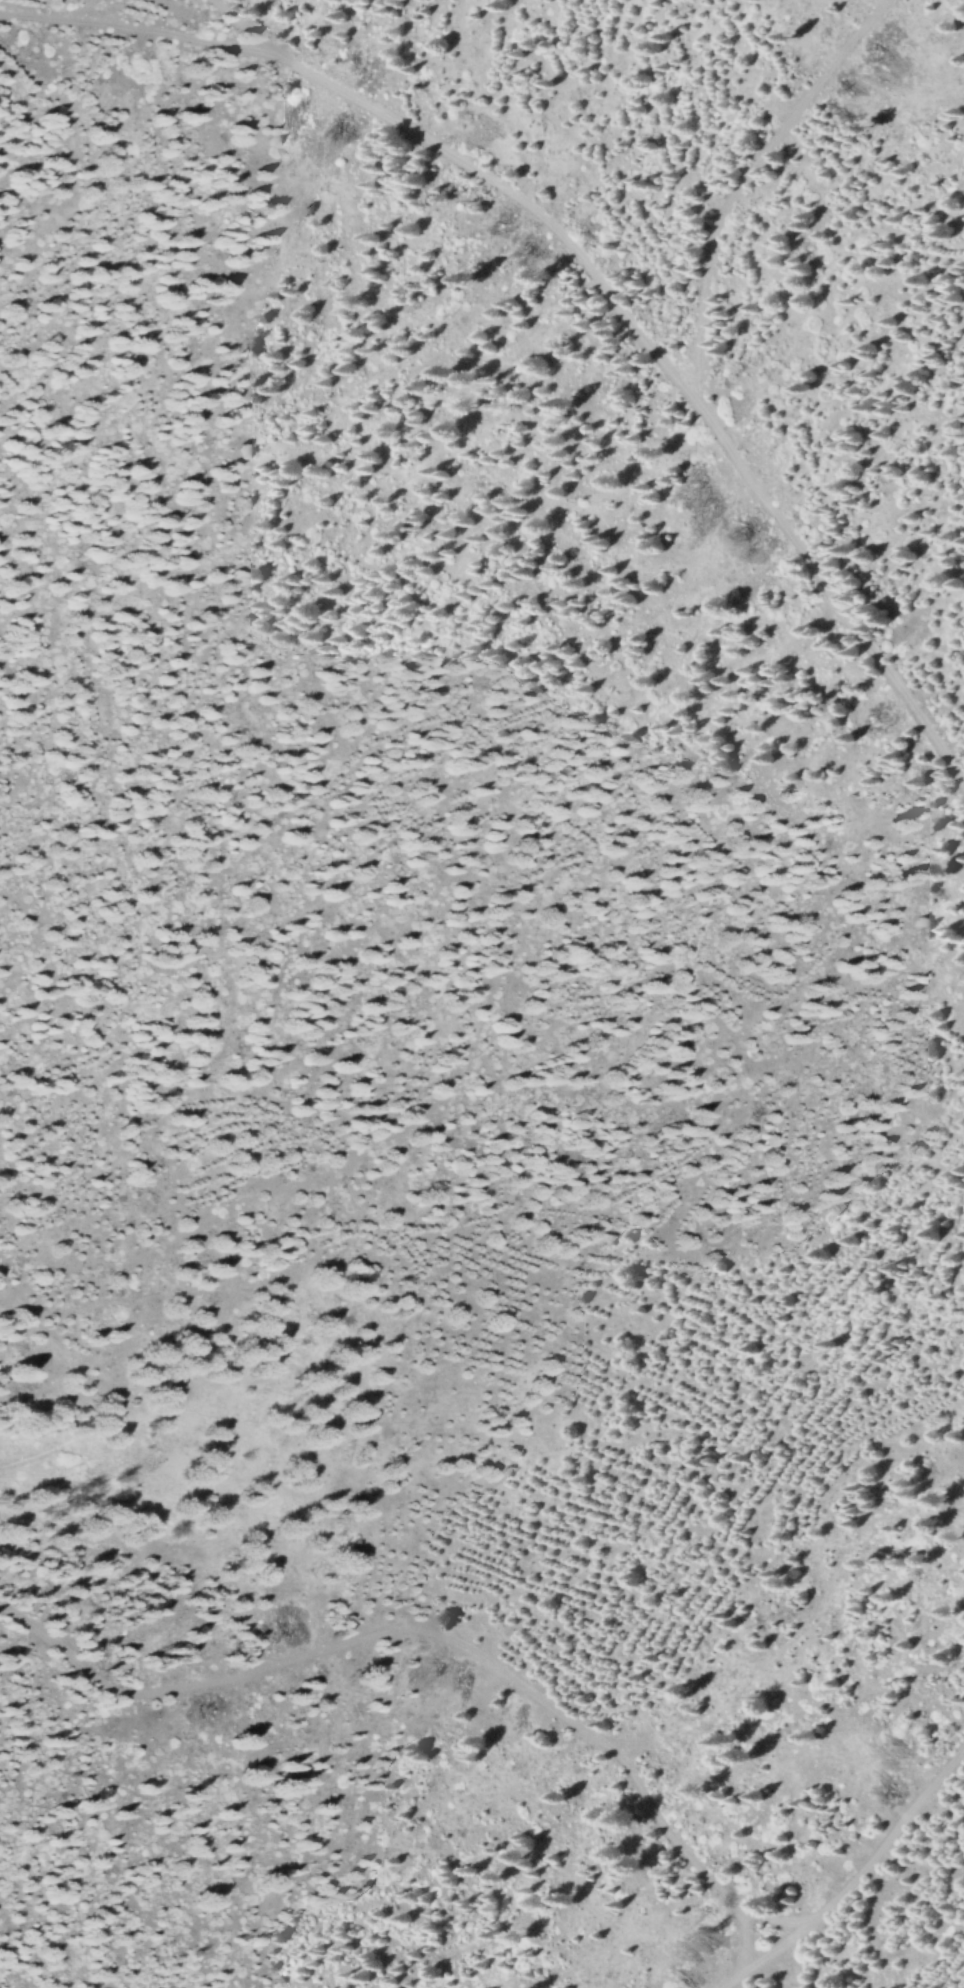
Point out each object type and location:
road: (241, 21)
road: (143, 29)
road: (672, 347)
road: (441, 1637)
road: (854, 1876)

